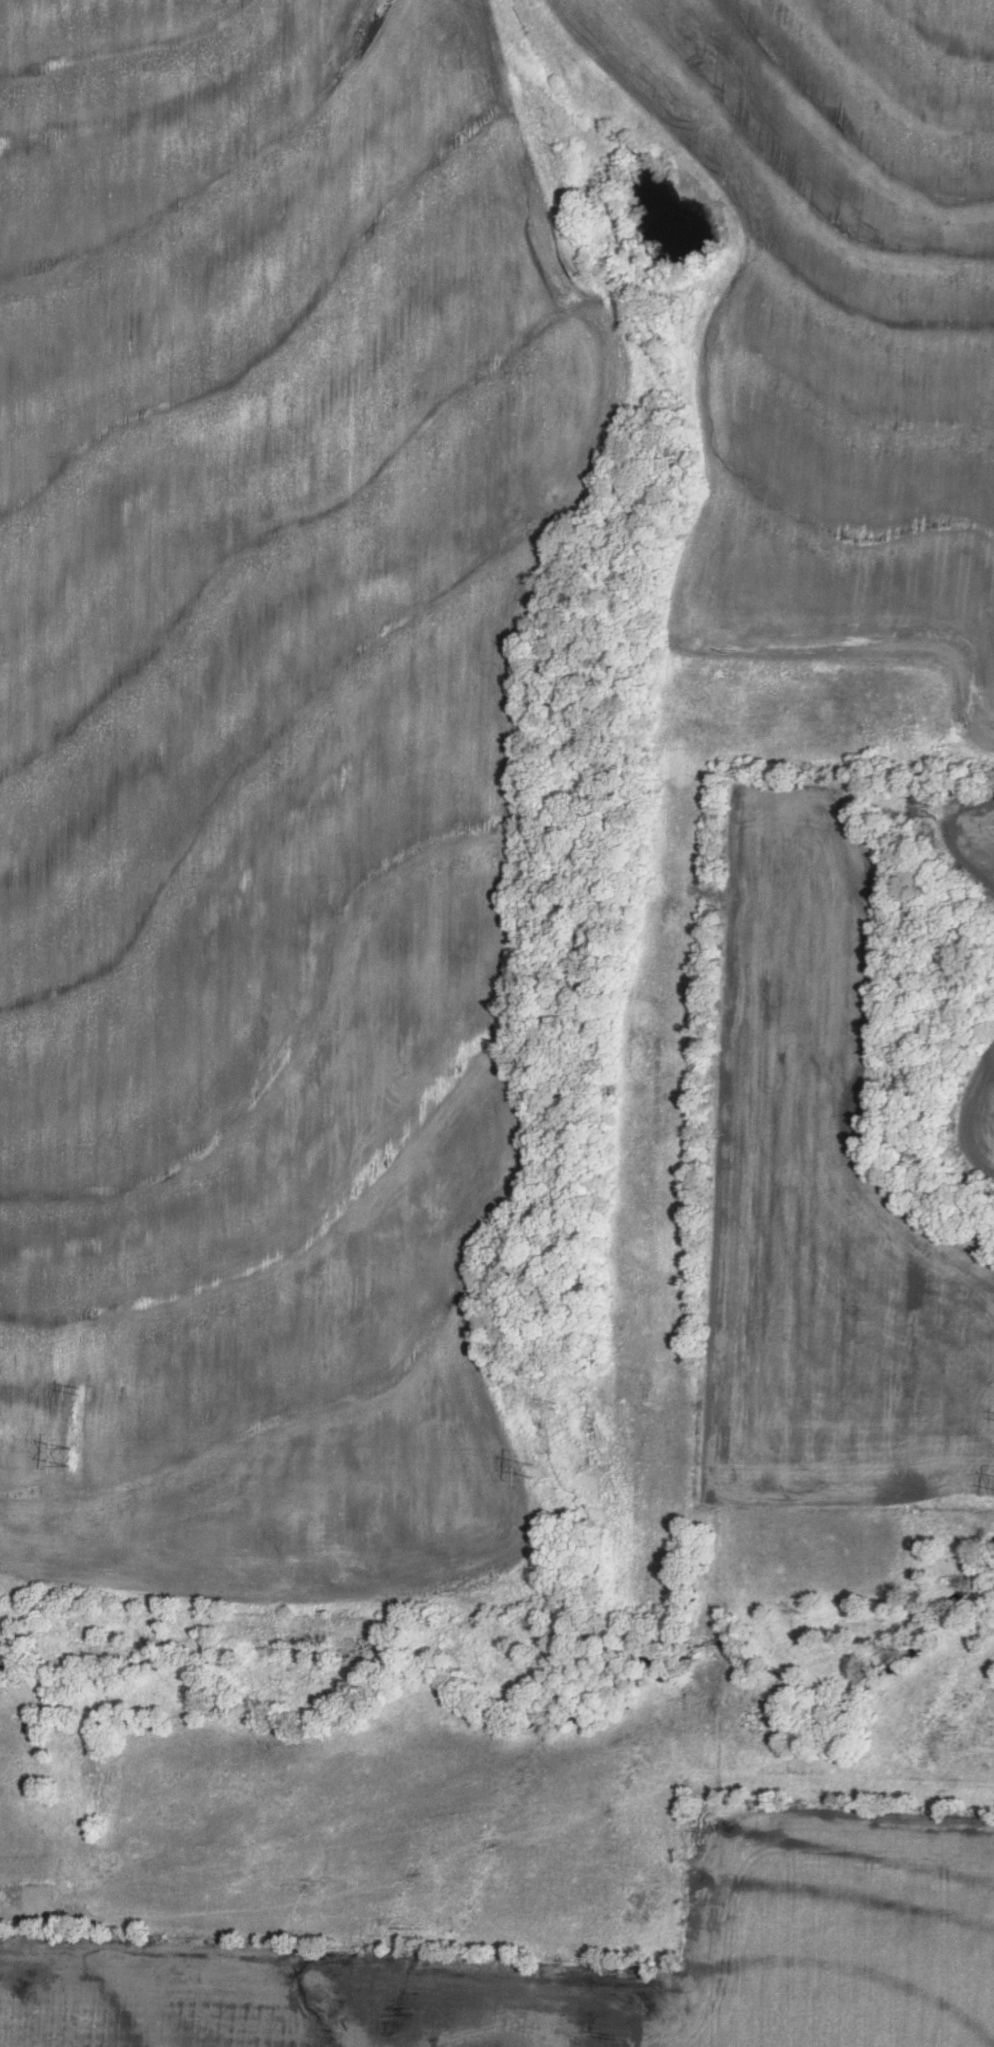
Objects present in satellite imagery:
power tower: (80, 1389)
power tower: (560, 1400)
power tower: (71, 1456)
power tower: (532, 1469)

